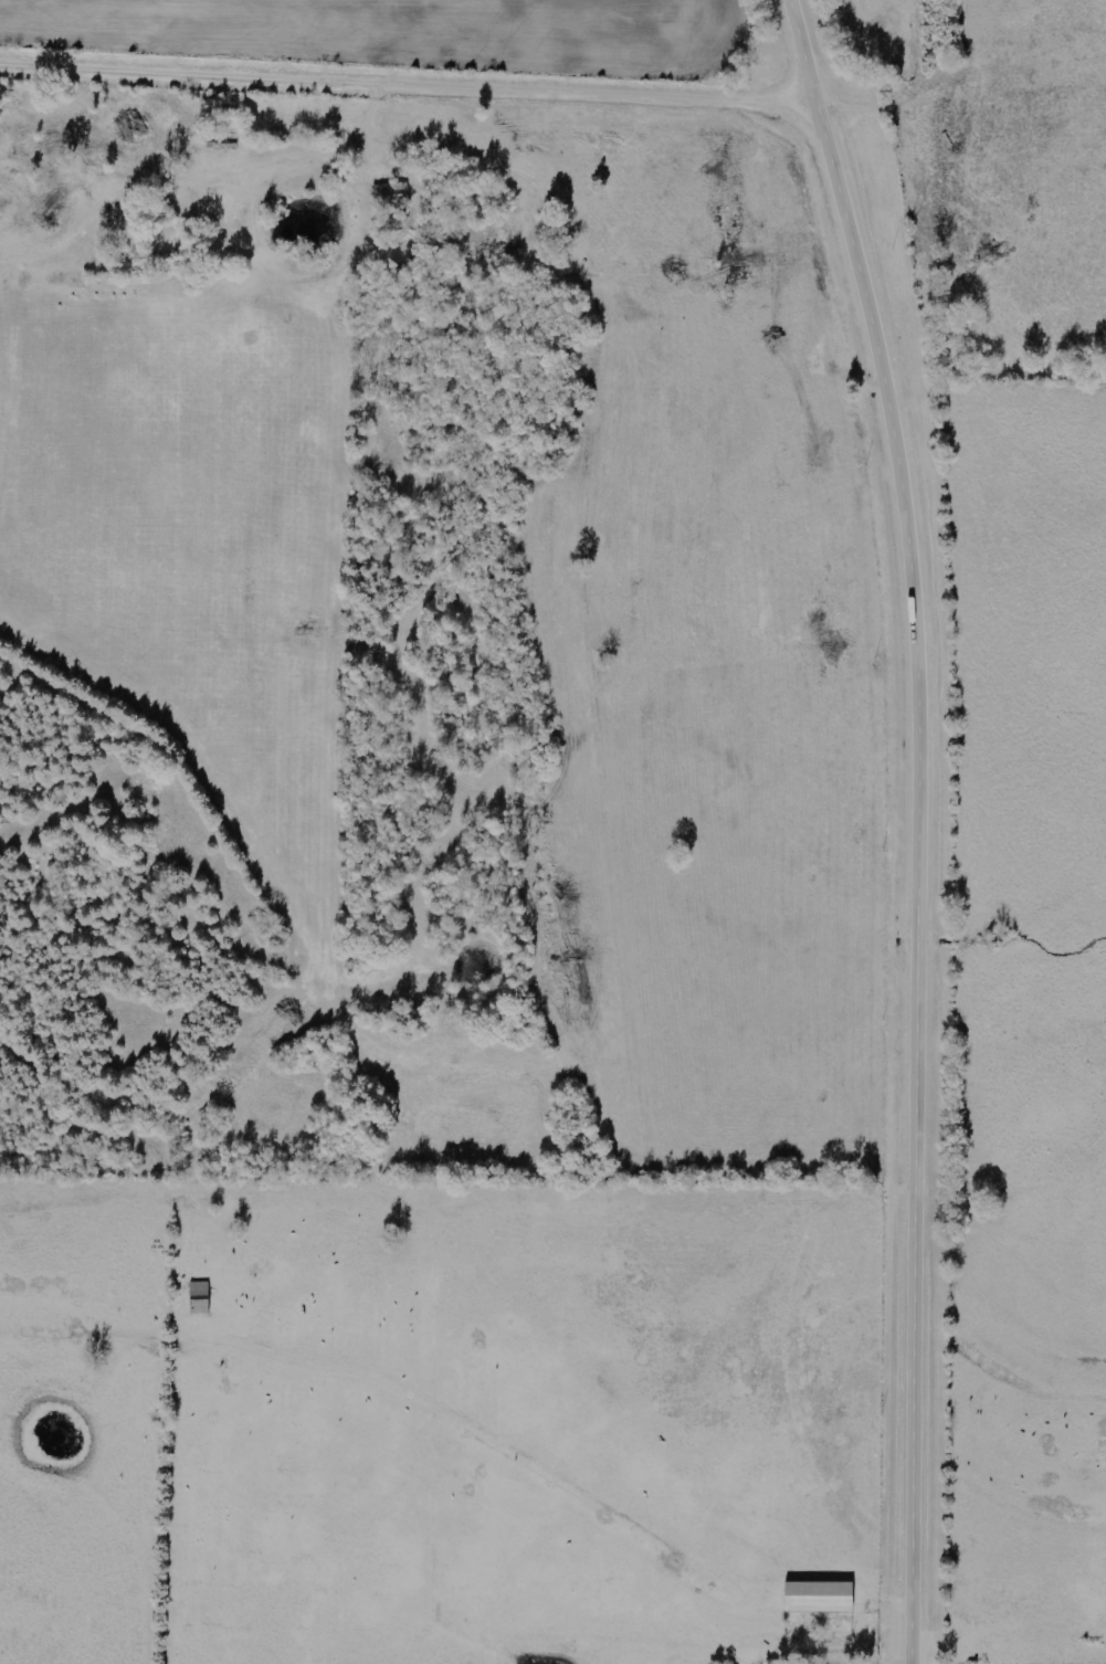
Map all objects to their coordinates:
road: (408, 87)
road: (920, 824)
building: (818, 1598)

